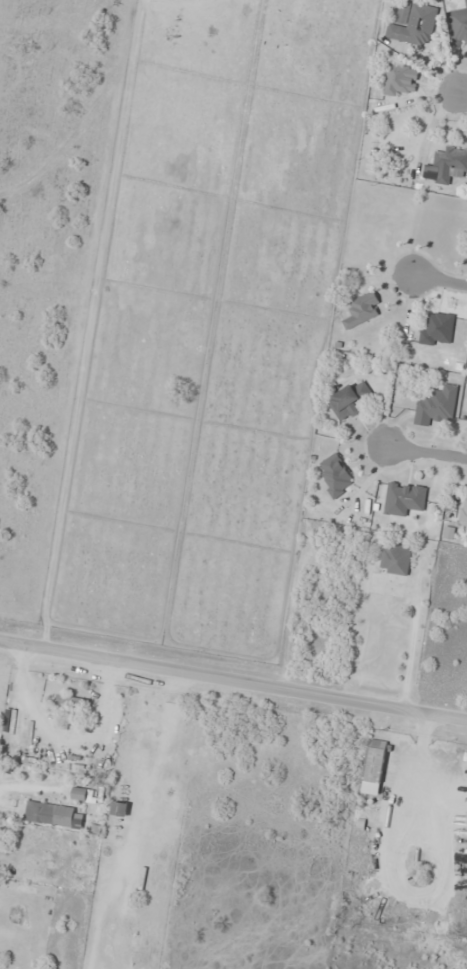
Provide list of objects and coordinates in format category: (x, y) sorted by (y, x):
building: (413, 23)
building: (458, 25)
building: (400, 79)
road: (462, 94)
building: (449, 164)
road: (437, 284)
building: (361, 309)
building: (438, 330)
building: (349, 399)
building: (436, 404)
road: (427, 451)
building: (336, 477)
building: (404, 498)
building: (463, 510)
building: (395, 558)
road: (233, 679)
building: (72, 701)
building: (465, 757)
building: (374, 766)
building: (80, 793)
building: (120, 808)
building: (54, 814)

